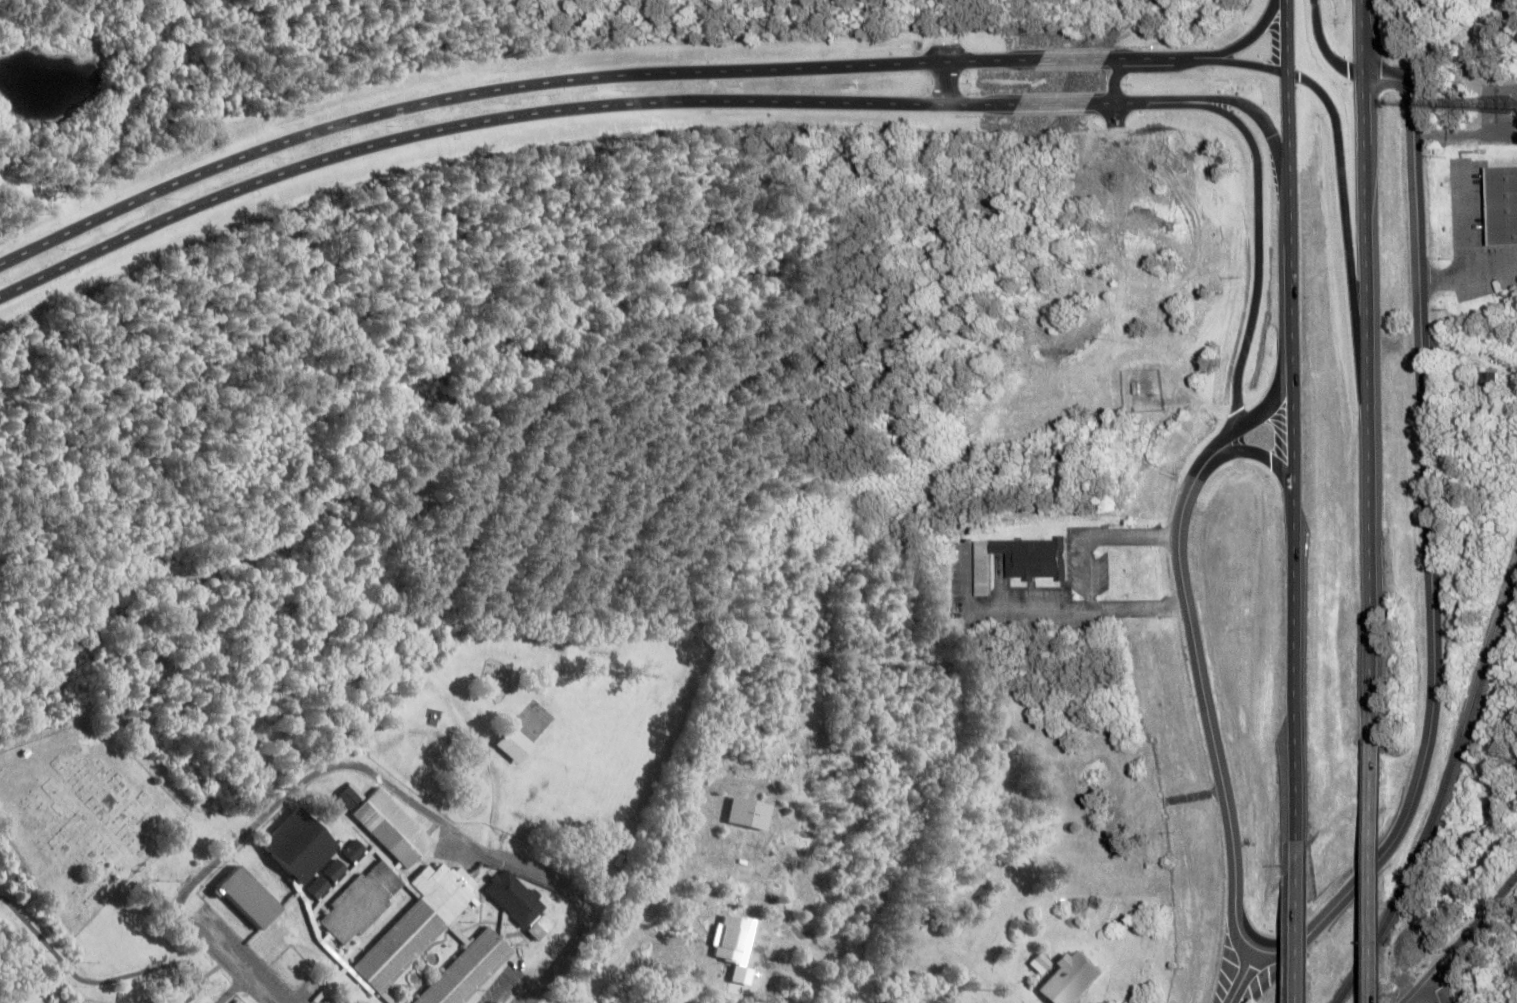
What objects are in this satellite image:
road: (1286, 31)
road: (1248, 32)
road: (1361, 32)
road: (1325, 41)
road: (1251, 55)
road: (1161, 56)
road: (1071, 57)
road: (941, 80)
road: (503, 87)
road: (1052, 101)
road: (1146, 101)
road: (492, 117)
road: (1264, 126)
building: (1504, 204)
road: (1461, 217)
road: (1345, 226)
parking lot: (1474, 237)
building: (1487, 251)
road: (1252, 259)
road: (1467, 271)
building: (1486, 380)
road: (1367, 384)
road: (1262, 401)
road: (1261, 448)
road: (1294, 451)
building: (1038, 557)
building: (985, 567)
road: (1087, 578)
parking lot: (1025, 594)
road: (998, 608)
railway: (1439, 788)
building: (346, 795)
road: (1407, 800)
road: (419, 804)
park: (82, 813)
building: (390, 827)
building: (295, 845)
building: (353, 849)
road: (1376, 853)
building: (333, 868)
building: (317, 885)
building: (514, 896)
building: (255, 898)
building: (359, 902)
road: (1481, 911)
road: (1305, 922)
building: (415, 923)
building: (541, 926)
road: (212, 947)
building: (466, 969)
road: (1238, 975)
building: (1073, 977)
road: (1424, 979)
road: (233, 990)
road: (1430, 991)

